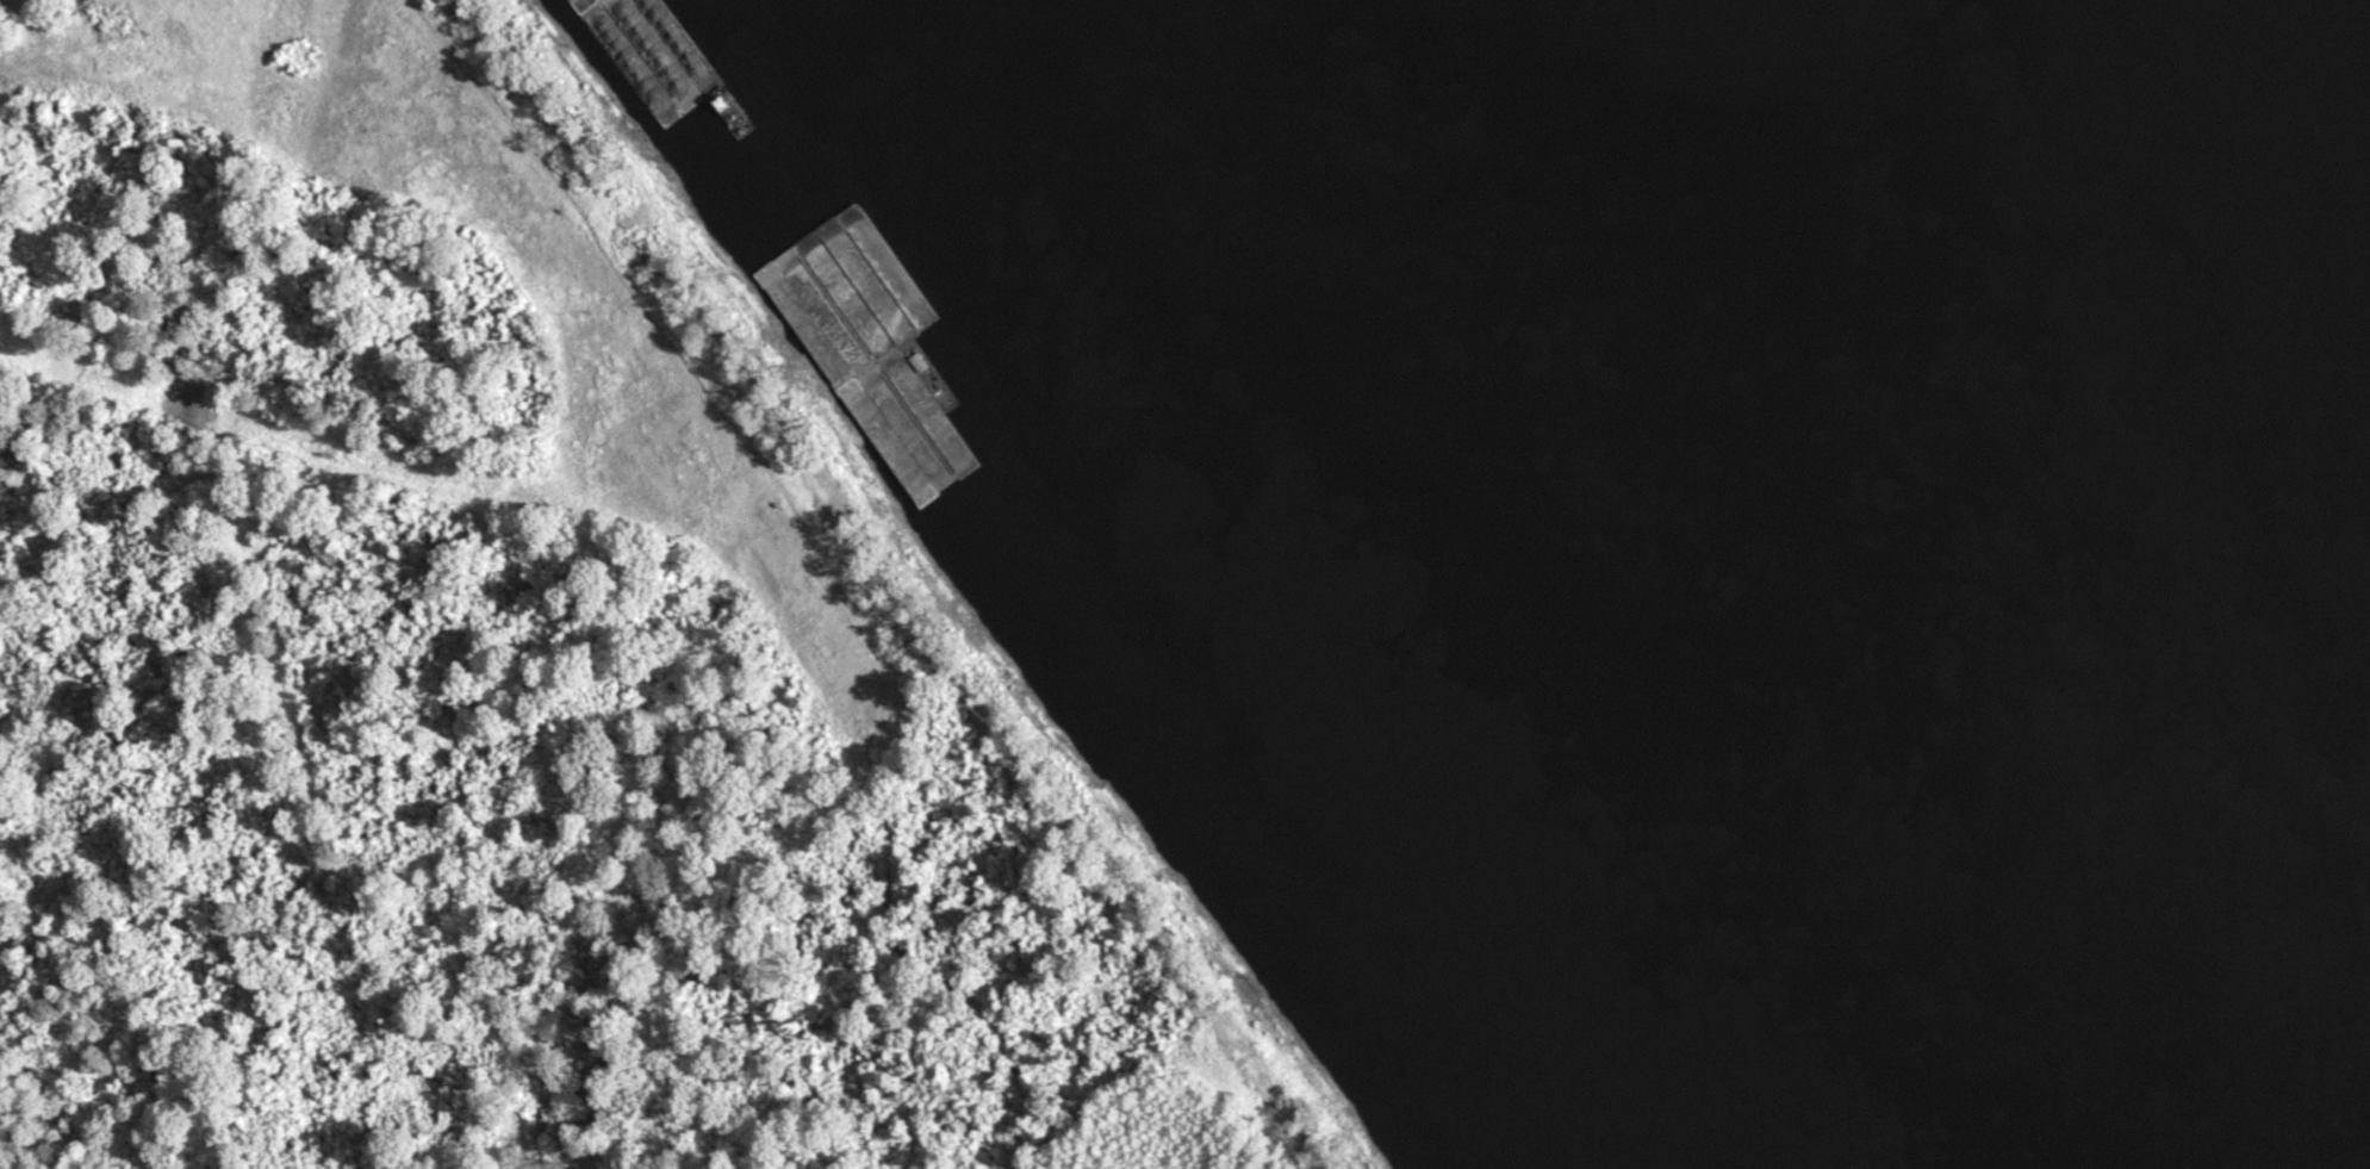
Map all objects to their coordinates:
river: (2316, 60)

